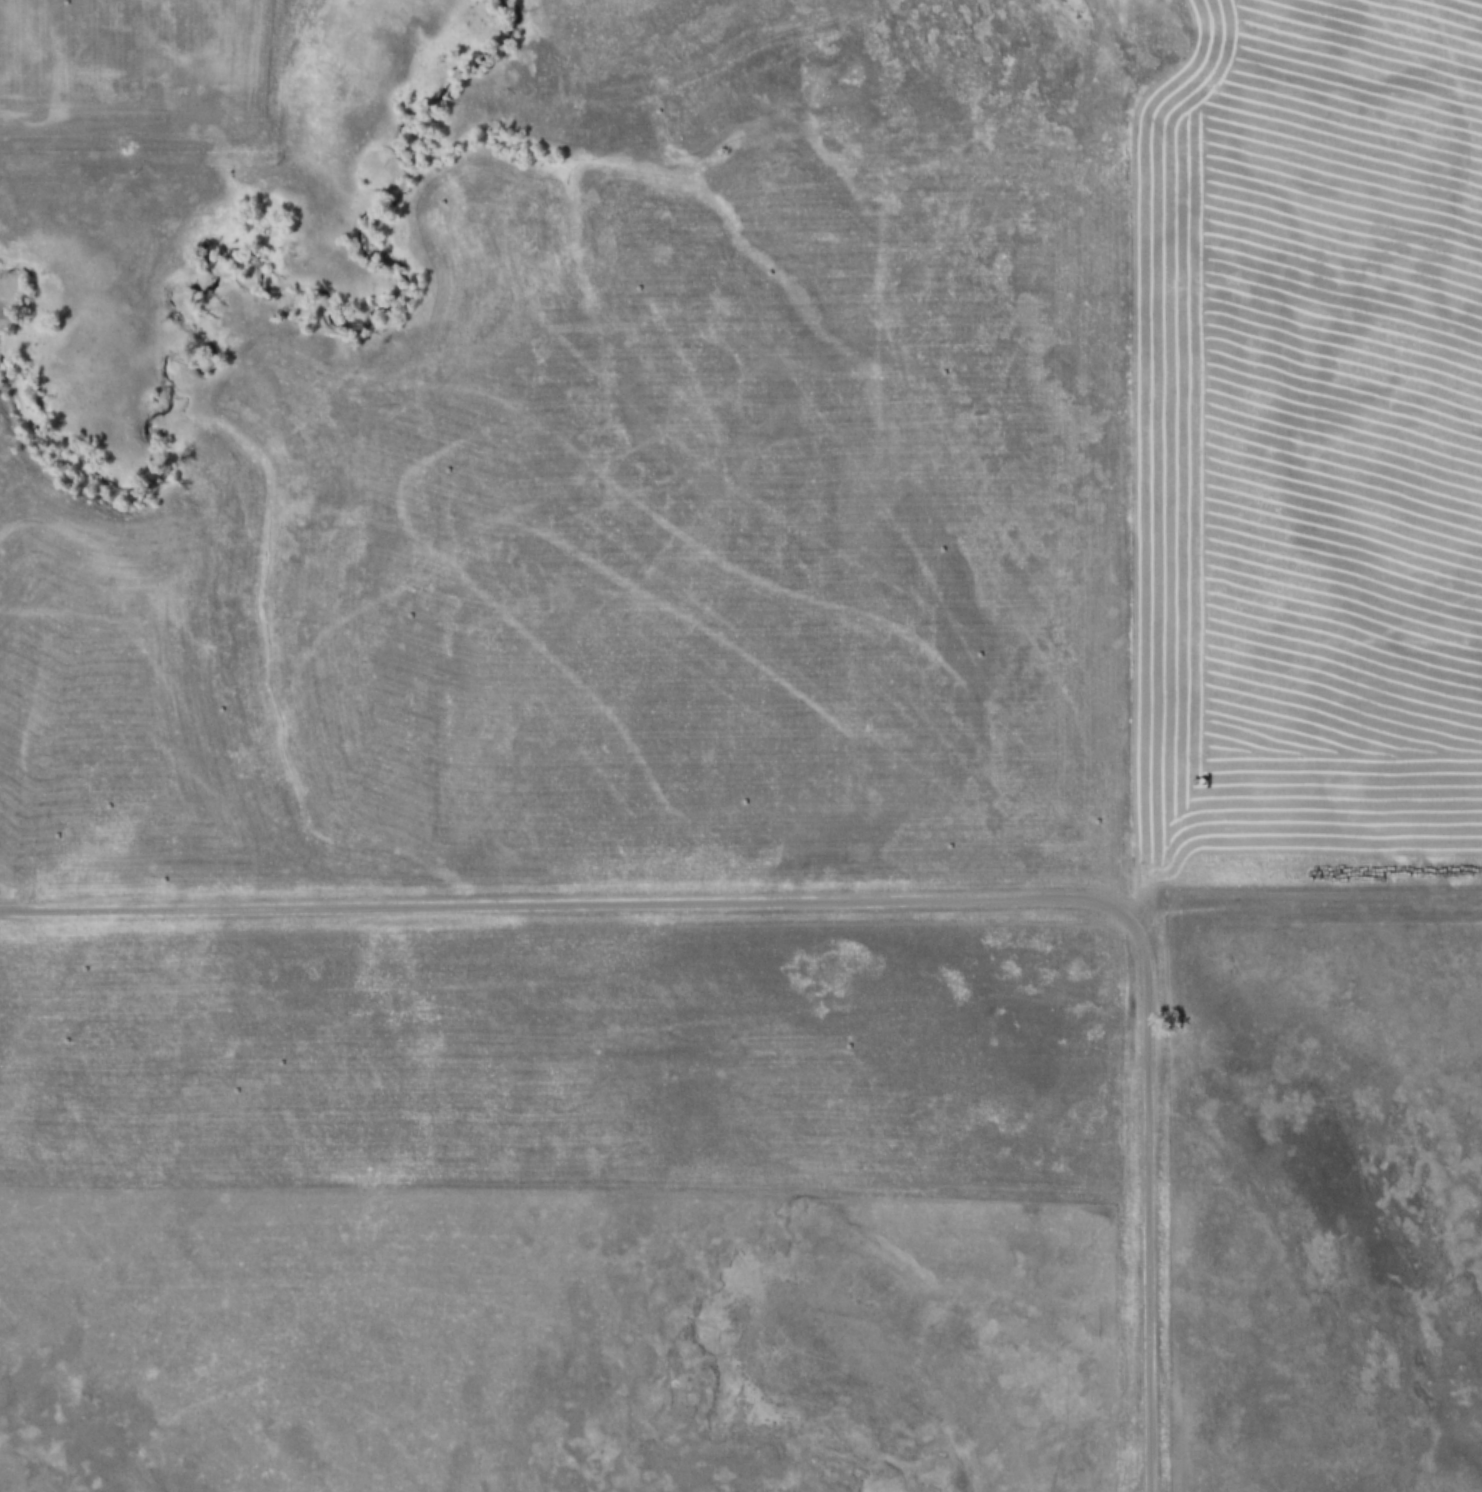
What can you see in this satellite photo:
road: (573, 898)
road: (1144, 1194)

